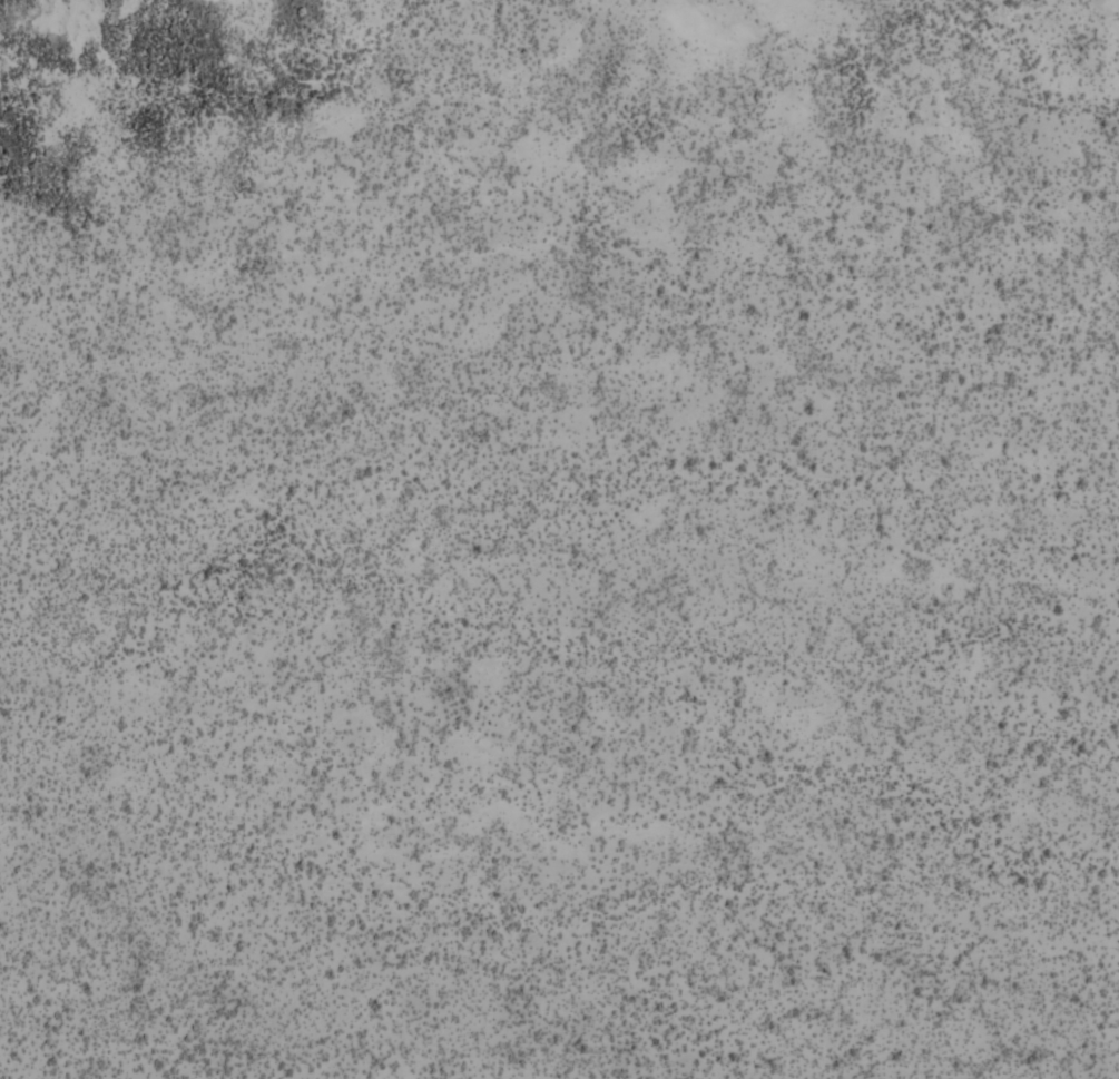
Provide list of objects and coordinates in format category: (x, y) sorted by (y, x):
building: (1118, 97)
building: (1060, 143)
building: (892, 322)
building: (706, 392)
building: (578, 420)
building: (822, 435)
building: (875, 458)
building: (1030, 512)
building: (729, 591)
building: (1109, 596)
building: (815, 619)
building: (1111, 634)
building: (1077, 793)
building: (644, 856)

